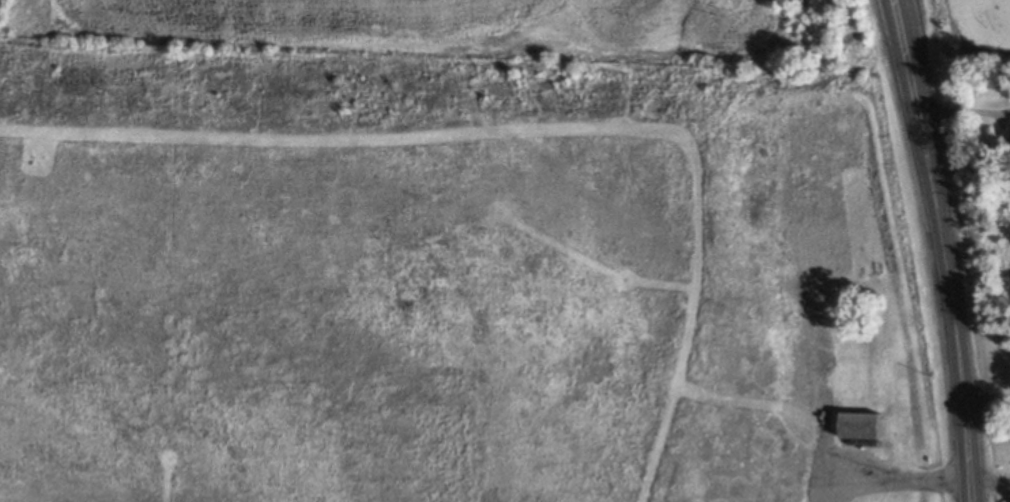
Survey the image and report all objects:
crop: (977, 23)
road: (906, 66)
road: (913, 66)
road: (945, 264)
road: (987, 396)
building: (864, 424)
park: (999, 436)
road: (967, 437)
road: (991, 478)
road: (896, 479)
road: (972, 490)

